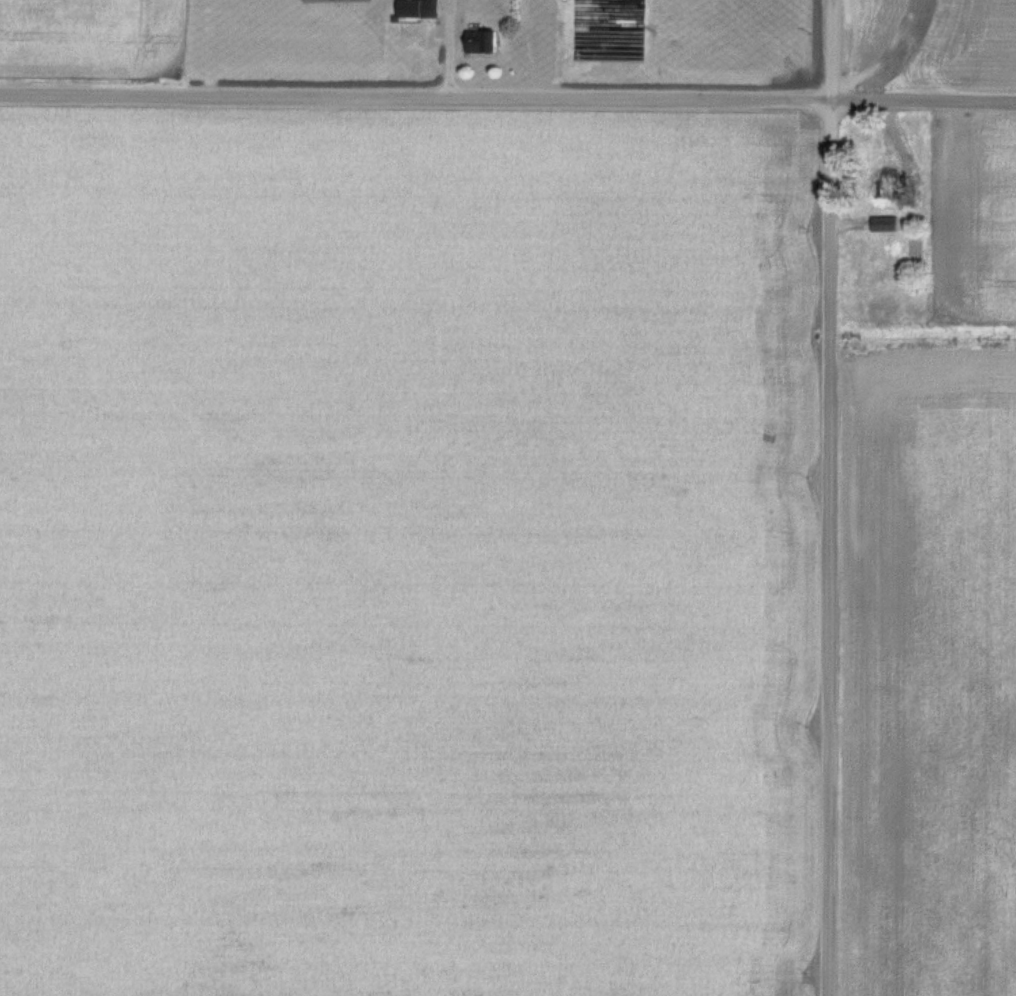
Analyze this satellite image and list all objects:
building: (417, 8)
building: (481, 40)
road: (508, 97)
building: (896, 188)
building: (885, 223)
road: (829, 498)

